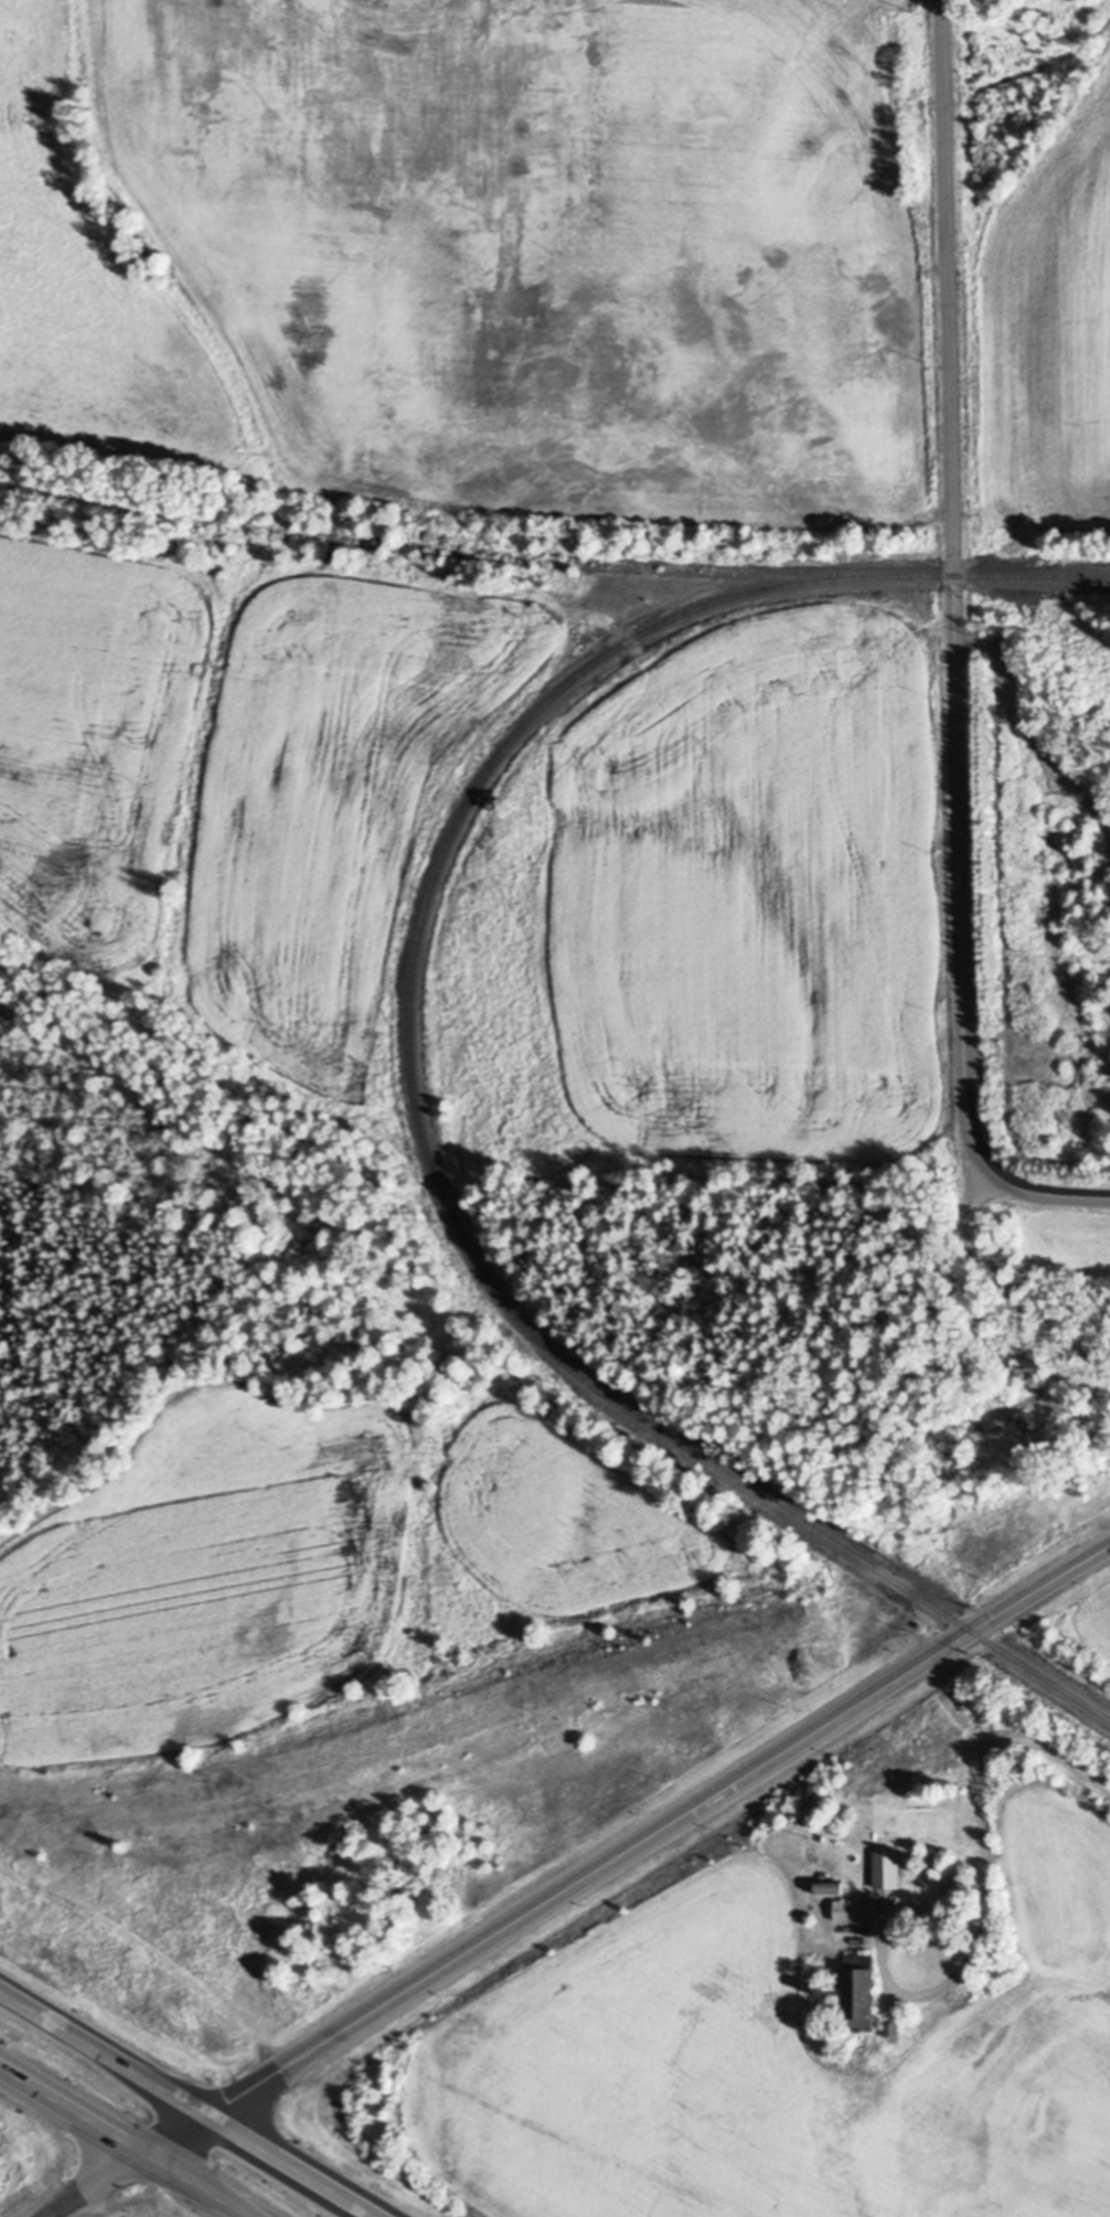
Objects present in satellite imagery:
railway: (447, 546)
road: (951, 548)
railway: (409, 1064)
road: (1010, 1185)
building: (1033, 1368)
road: (626, 1848)
road: (983, 1867)
building: (887, 1870)
building: (831, 1889)
building: (844, 1910)
building: (860, 1991)
road: (106, 2050)
road: (71, 2110)
road: (296, 2165)
road: (90, 2185)
road: (193, 2185)

